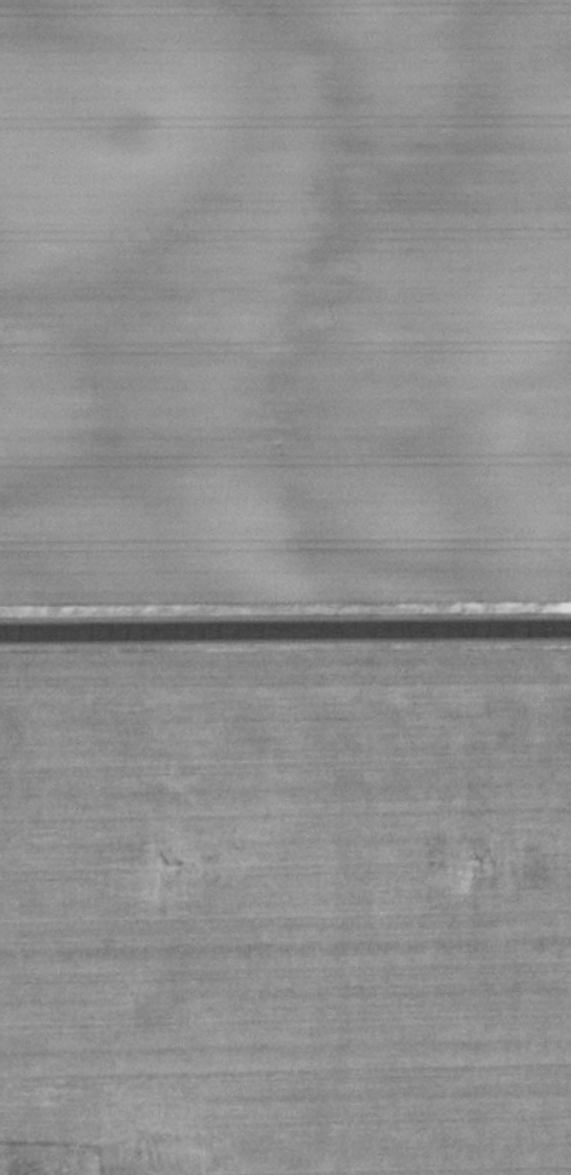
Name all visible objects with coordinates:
road: (285, 631)

